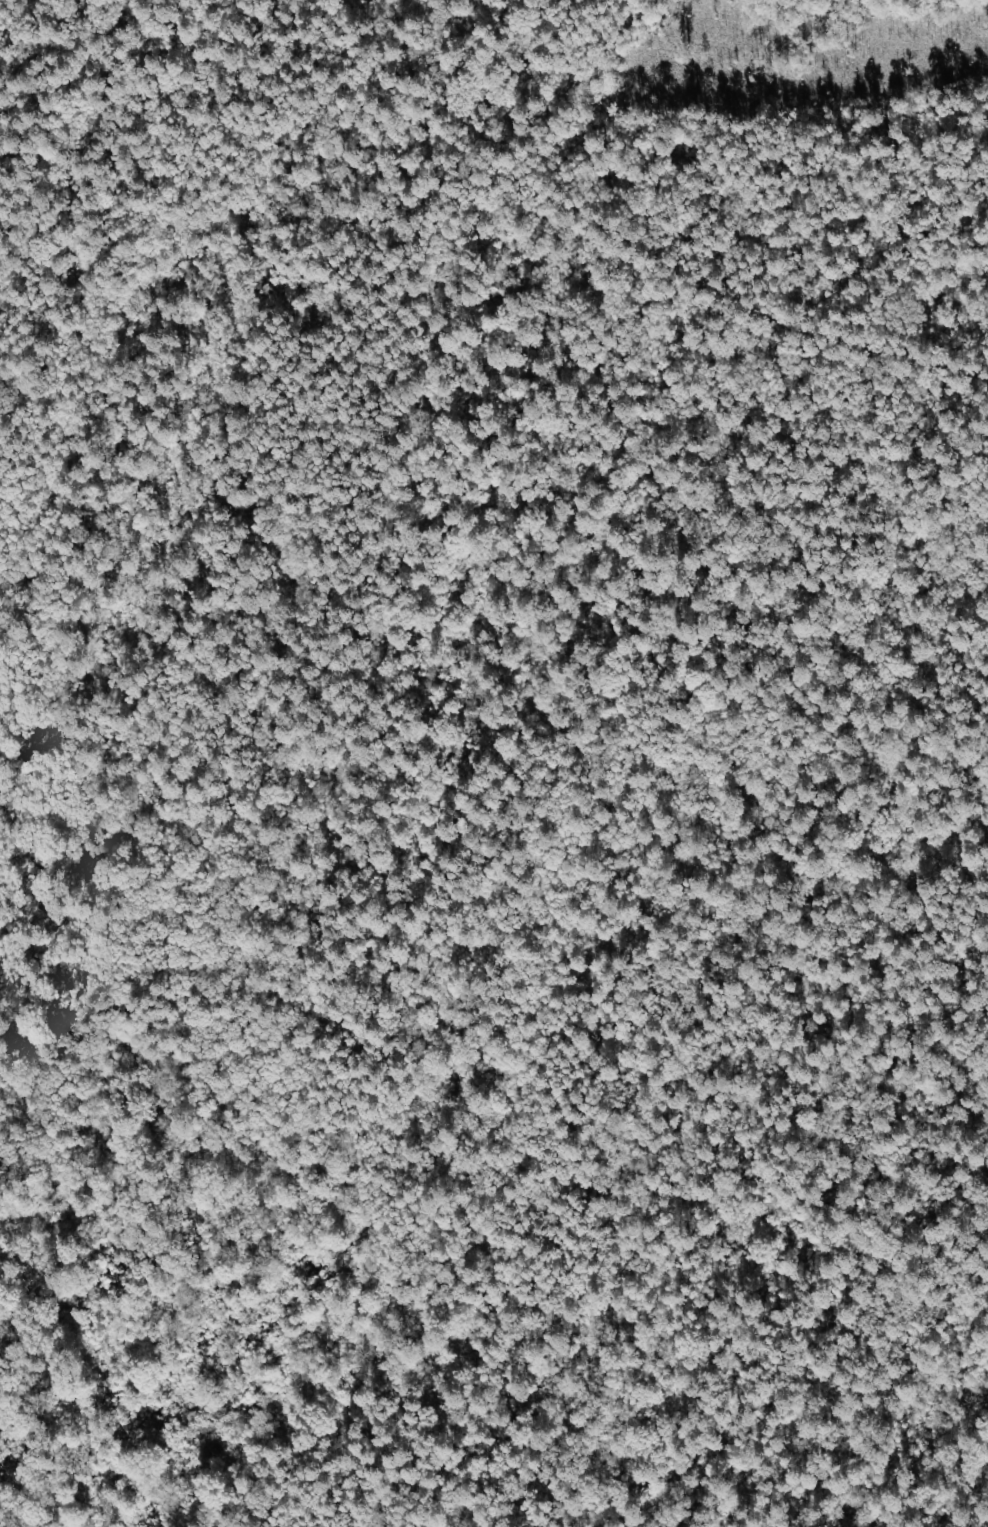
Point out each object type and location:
road: (494, 163)

